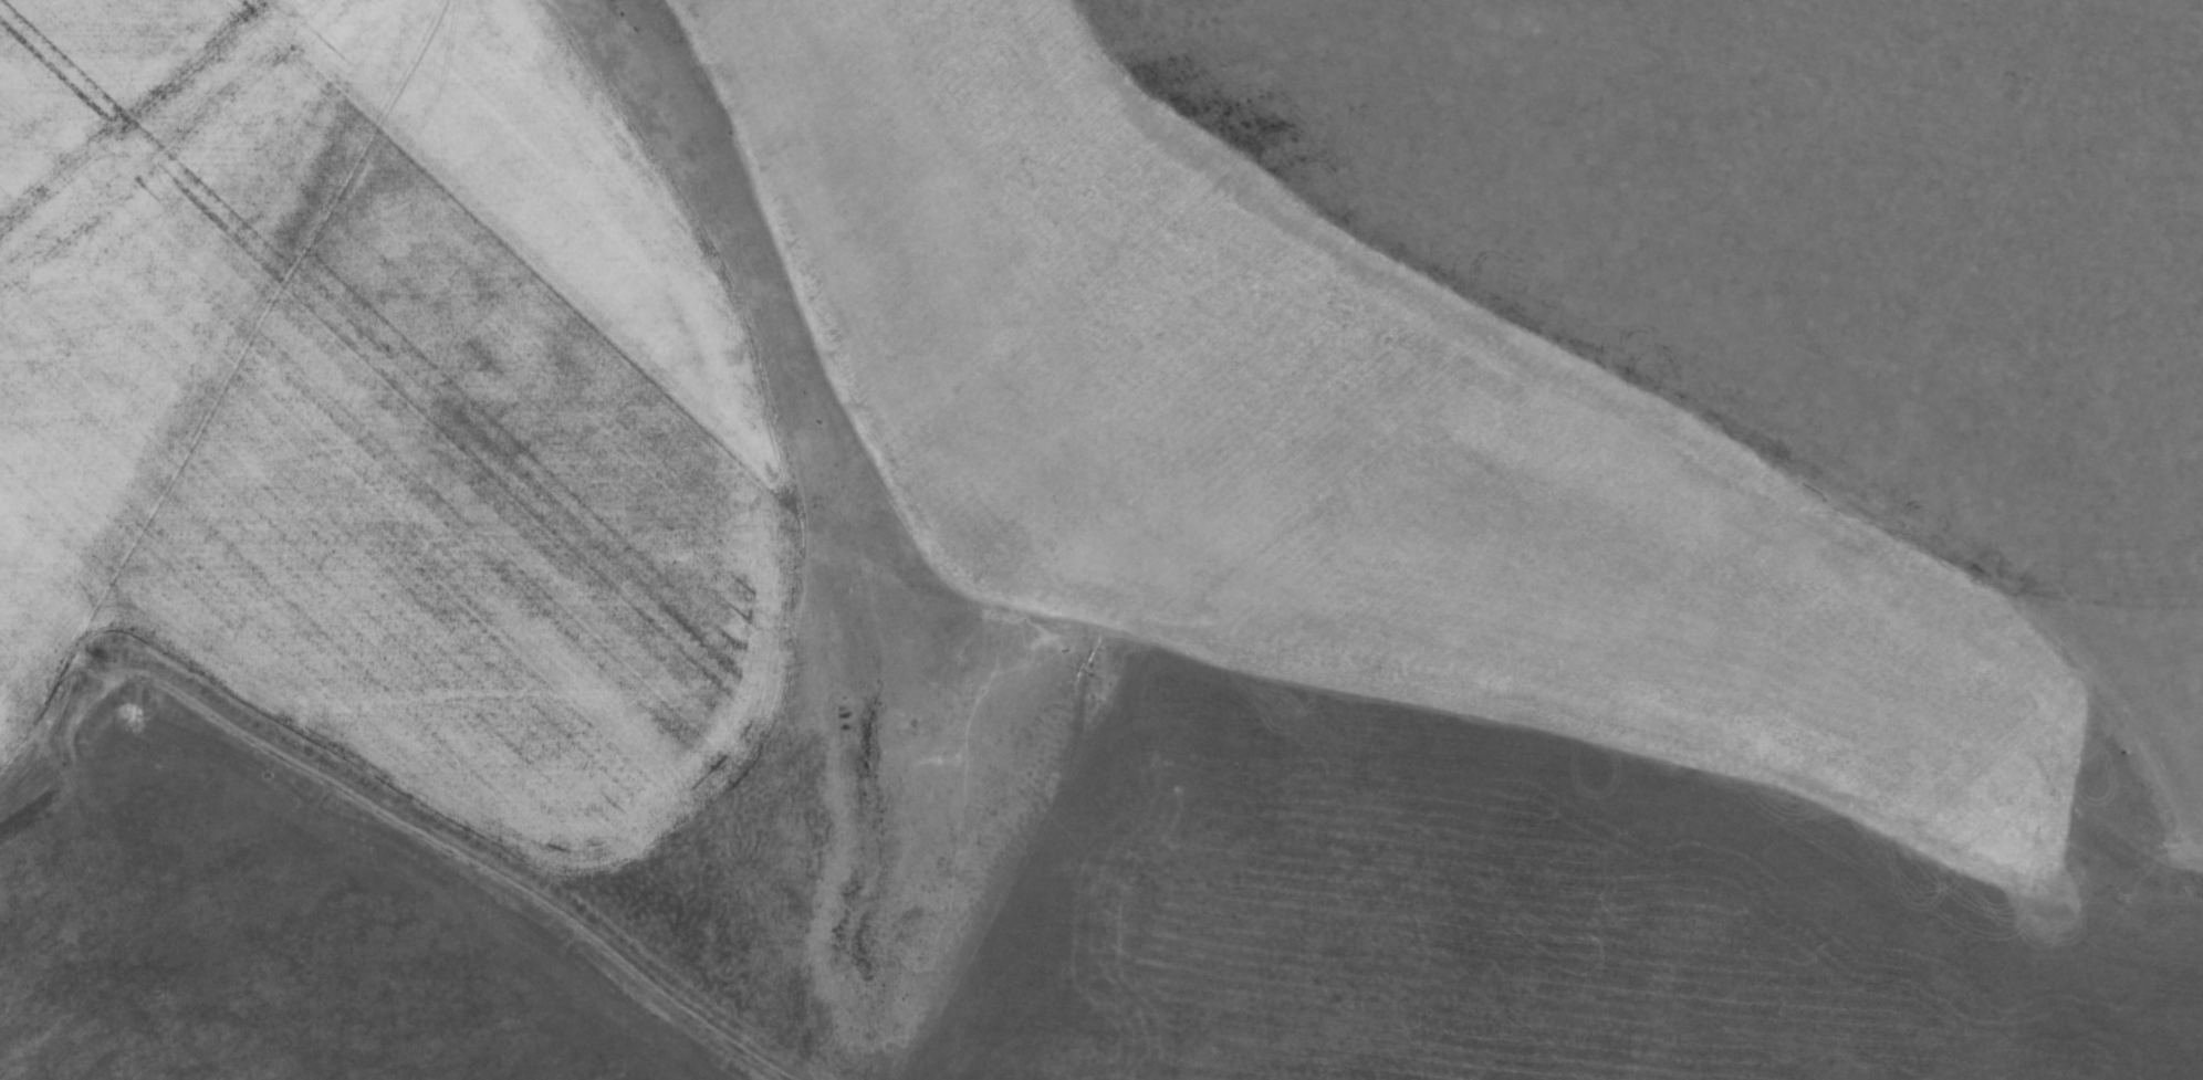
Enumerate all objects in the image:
crop: (145, 192)
road: (264, 250)
crop: (453, 419)
crop: (1309, 430)
crop: (67, 522)
crop: (1532, 899)
crop: (305, 947)
crop: (62, 987)

